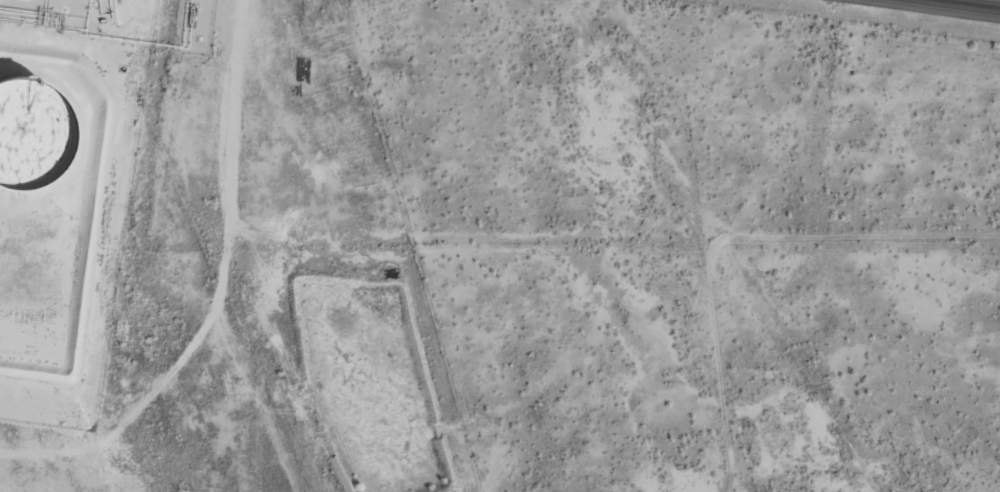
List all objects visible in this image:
road: (964, 4)
silo: (27, 111)

